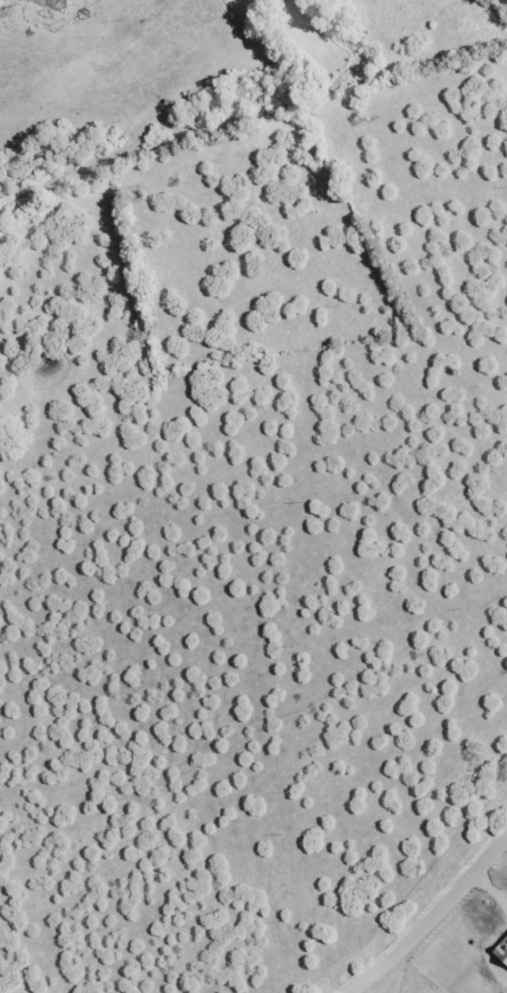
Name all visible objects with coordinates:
road: (432, 919)
building: (500, 952)

